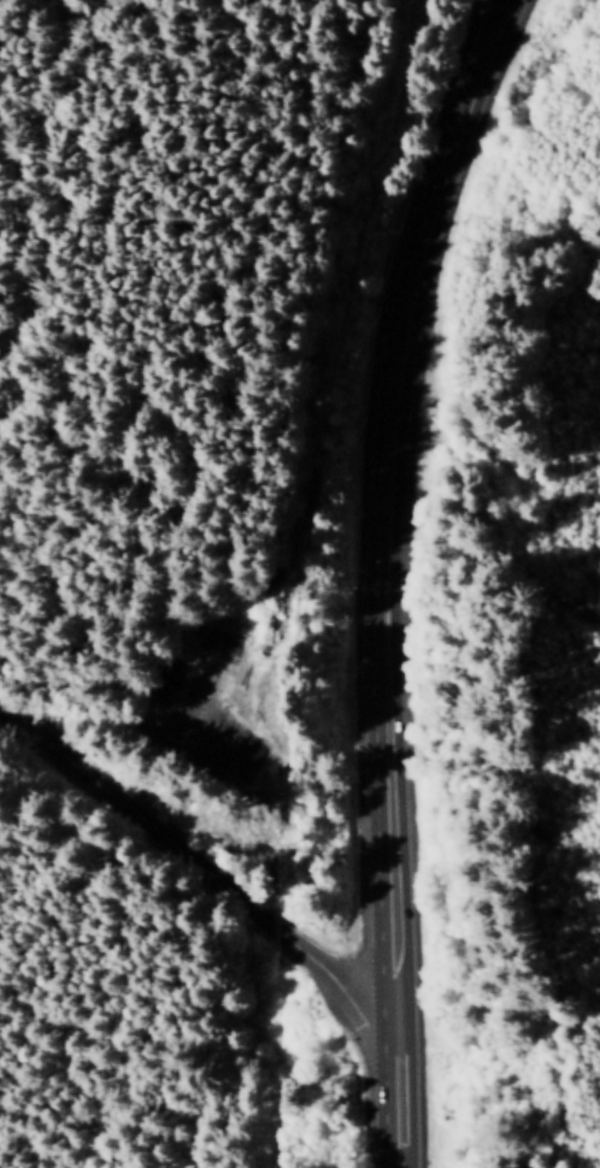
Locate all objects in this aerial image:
road: (394, 489)
road: (182, 855)
road: (369, 1081)

